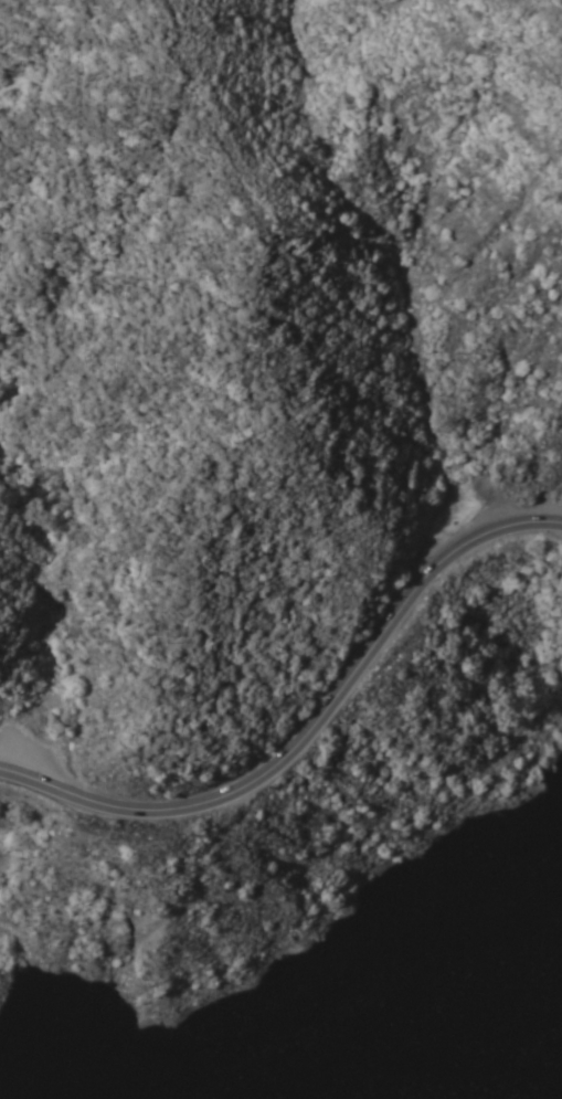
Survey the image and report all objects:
road: (310, 728)

